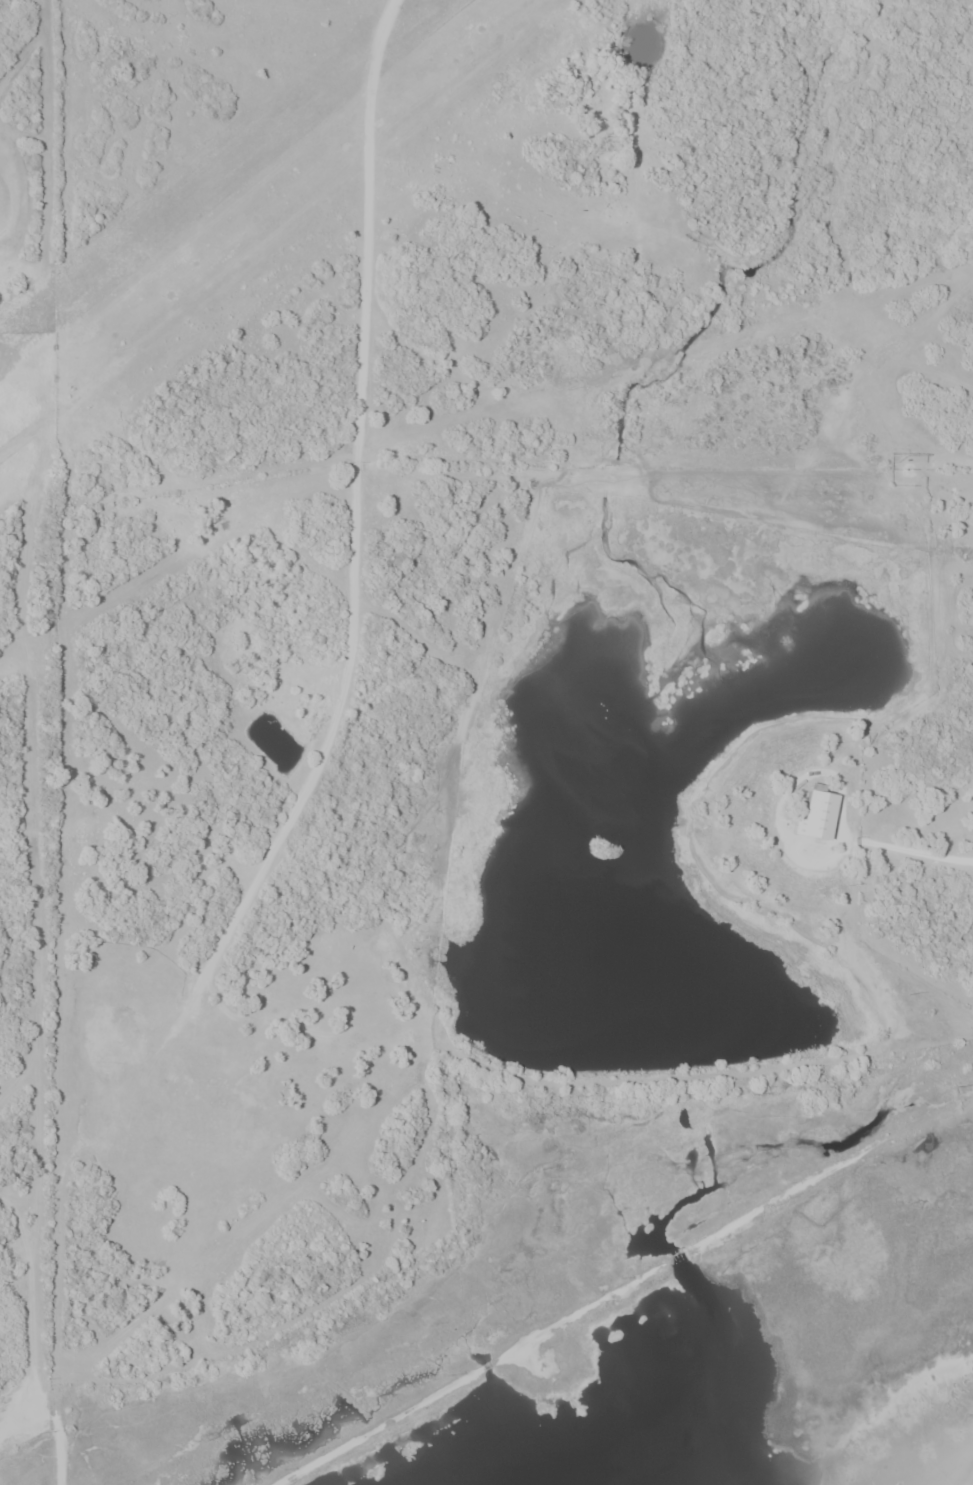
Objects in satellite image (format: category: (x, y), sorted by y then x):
road: (360, 524)
road: (784, 798)
building: (819, 818)
road: (912, 853)
road: (33, 1291)

